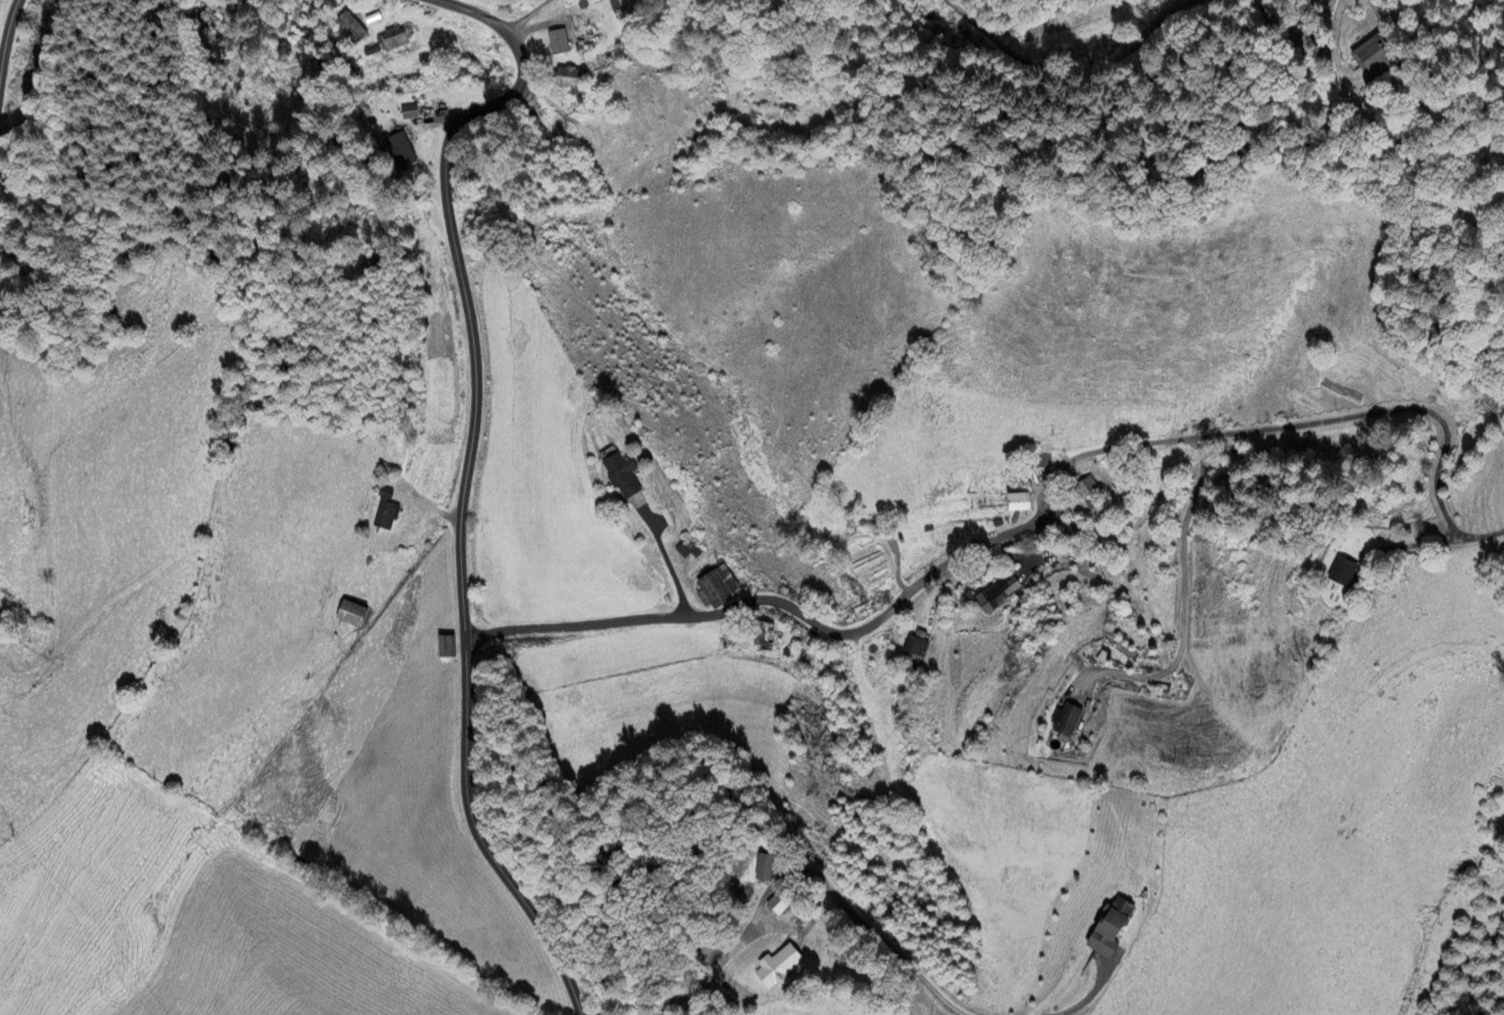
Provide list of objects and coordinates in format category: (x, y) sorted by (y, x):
building: (351, 27)
road: (5, 33)
building: (393, 41)
building: (558, 42)
building: (1372, 59)
building: (571, 80)
building: (409, 113)
building: (401, 150)
building: (621, 476)
road: (463, 477)
building: (1090, 494)
building: (1018, 503)
building: (385, 511)
road: (1010, 532)
building: (684, 552)
road: (666, 560)
building: (1342, 573)
building: (718, 588)
building: (997, 594)
road: (1121, 594)
building: (351, 614)
building: (764, 638)
building: (915, 647)
building: (446, 648)
building: (1066, 721)
building: (763, 870)
building: (775, 908)
building: (1110, 930)
road: (872, 931)
road: (719, 964)
building: (777, 969)
road: (1090, 997)

